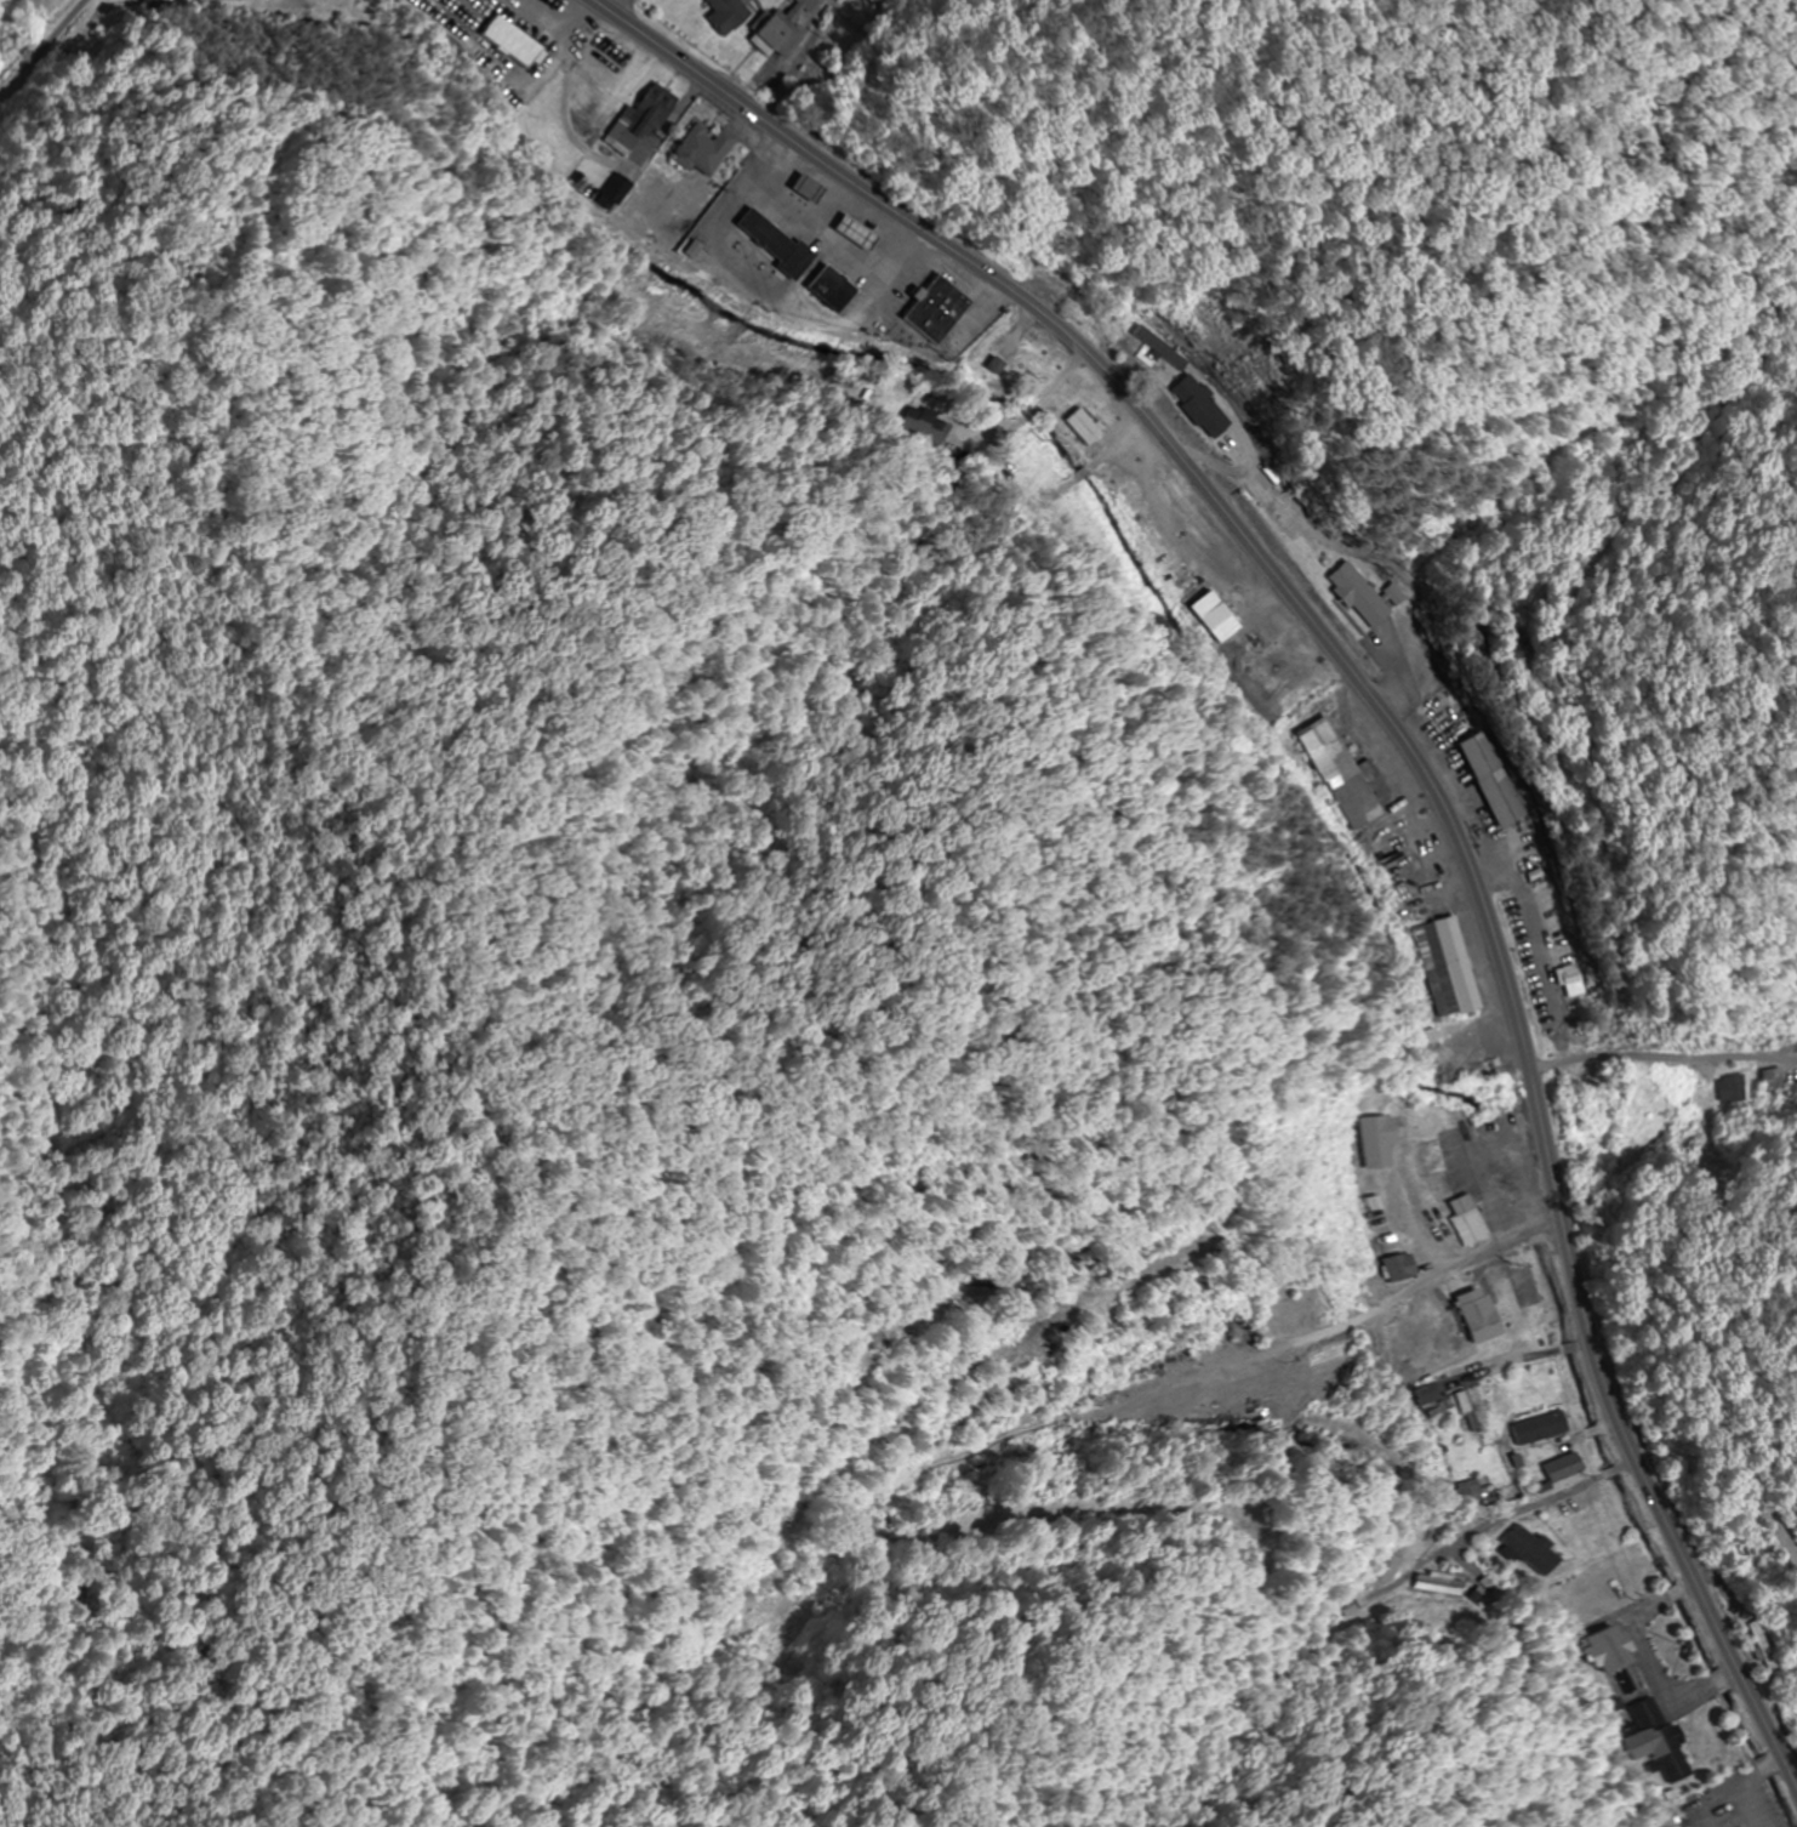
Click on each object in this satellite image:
building: (162, 0)
building: (212, 0)
road: (615, 6)
building: (721, 15)
building: (777, 28)
building: (507, 42)
road: (44, 51)
building: (605, 74)
building: (639, 115)
building: (694, 163)
building: (611, 192)
building: (766, 244)
building: (822, 289)
building: (1073, 295)
building: (930, 309)
building: (1193, 408)
building: (1079, 412)
building: (926, 427)
building: (1032, 477)
building: (1357, 597)
road: (1404, 749)
building: (1335, 776)
building: (1487, 780)
building: (1439, 968)
building: (1567, 984)
building: (1421, 1049)
building: (1772, 1080)
building: (1730, 1091)
building: (1379, 1140)
building: (1427, 1159)
building: (1461, 1222)
building: (1398, 1268)
building: (1470, 1315)
building: (1428, 1395)
building: (1476, 1419)
building: (1534, 1428)
building: (1557, 1468)
road: (1733, 1491)
road: (1542, 1503)
building: (1531, 1552)
building: (1385, 1569)
building: (1442, 1586)
building: (1757, 1644)
building: (1605, 1650)
building: (1659, 1743)

